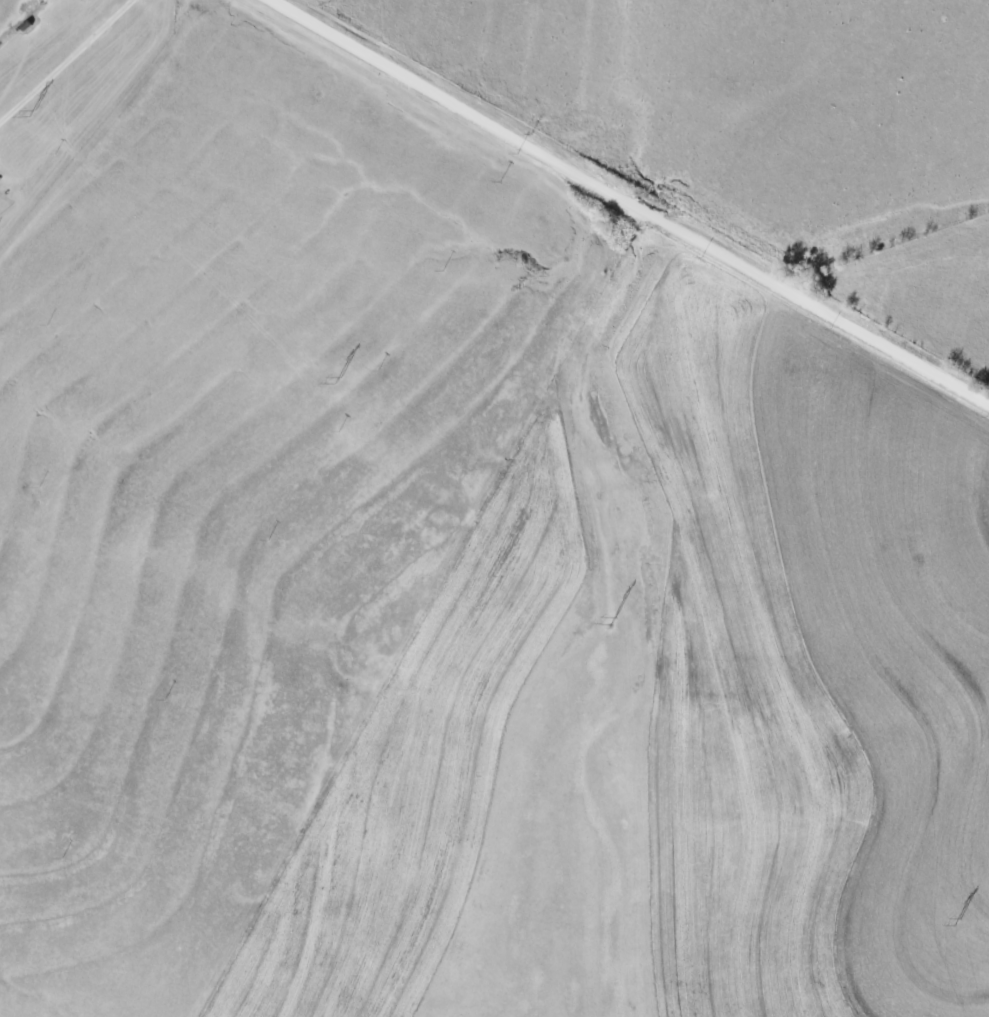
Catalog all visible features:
road: (37, 27)
road: (64, 60)
power tower: (35, 113)
road: (631, 202)
power tower: (340, 379)
power tower: (615, 621)
power tower: (959, 921)

